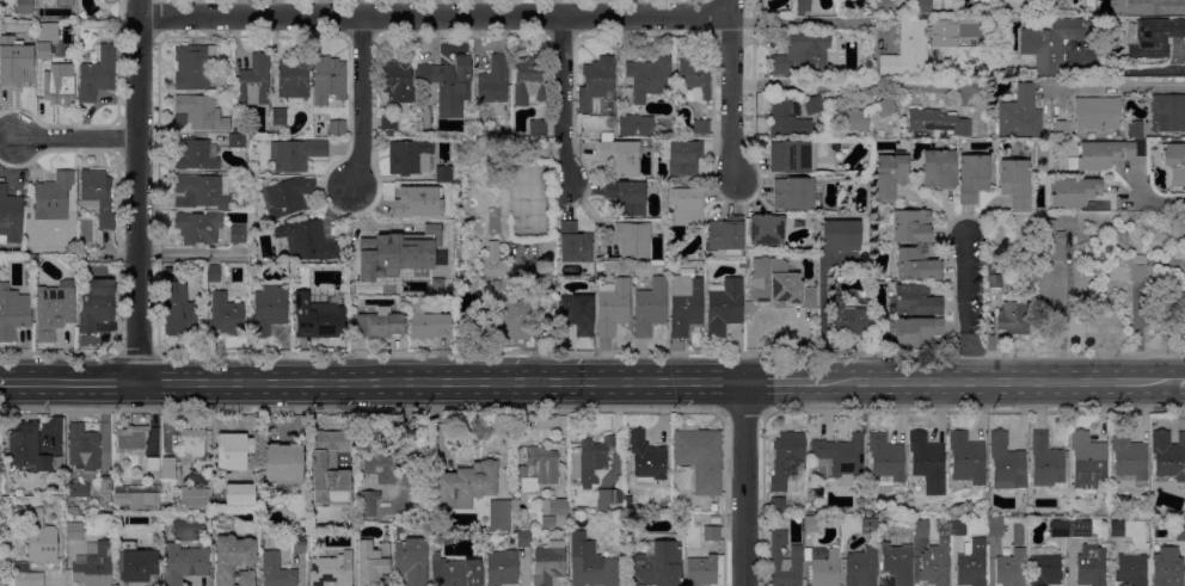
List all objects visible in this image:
building: (883, 5)
building: (24, 6)
building: (1154, 6)
building: (803, 7)
building: (923, 8)
building: (81, 13)
road: (435, 17)
road: (819, 23)
building: (4, 31)
building: (48, 31)
building: (943, 32)
building: (1155, 37)
building: (1054, 42)
building: (43, 50)
building: (908, 50)
building: (1079, 53)
building: (802, 54)
building: (194, 67)
building: (14, 69)
road: (1138, 69)
building: (97, 74)
building: (693, 75)
building: (294, 78)
building: (649, 78)
building: (529, 79)
building: (329, 80)
building: (398, 80)
building: (493, 80)
building: (254, 81)
building: (596, 81)
road: (851, 82)
building: (59, 84)
building: (448, 85)
road: (1123, 85)
road: (735, 90)
road: (561, 100)
road: (360, 104)
building: (813, 105)
building: (886, 109)
building: (202, 112)
building: (1167, 112)
building: (1018, 115)
building: (1097, 115)
building: (280, 117)
building: (787, 119)
building: (852, 119)
building: (388, 122)
building: (937, 122)
building: (636, 125)
building: (538, 128)
building: (701, 128)
building: (332, 129)
building: (1061, 129)
building: (1132, 129)
building: (389, 135)
road: (75, 137)
building: (237, 141)
building: (548, 152)
building: (295, 154)
building: (1101, 154)
building: (196, 155)
building: (620, 156)
building: (682, 156)
building: (793, 156)
building: (410, 158)
building: (1174, 162)
building: (939, 169)
building: (444, 174)
building: (890, 175)
building: (972, 177)
building: (1015, 183)
road: (137, 191)
building: (203, 191)
building: (400, 191)
building: (1073, 192)
building: (796, 195)
building: (98, 196)
building: (53, 197)
building: (287, 197)
building: (627, 197)
road: (1149, 202)
building: (686, 204)
building: (434, 208)
building: (10, 217)
building: (1092, 217)
building: (1066, 221)
building: (905, 226)
building: (198, 227)
building: (766, 229)
building: (237, 234)
building: (725, 235)
building: (840, 235)
building: (460, 236)
building: (1115, 236)
building: (632, 239)
building: (306, 241)
building: (1050, 241)
building: (1124, 242)
building: (575, 243)
building: (546, 251)
building: (393, 257)
building: (493, 261)
building: (742, 265)
building: (917, 265)
building: (1115, 271)
building: (1141, 271)
building: (213, 273)
building: (37, 279)
building: (995, 280)
building: (781, 282)
building: (914, 301)
building: (401, 302)
building: (366, 303)
building: (684, 303)
building: (97, 306)
building: (612, 306)
building: (724, 306)
building: (649, 308)
building: (51, 309)
building: (269, 309)
road: (968, 309)
building: (178, 311)
building: (13, 313)
building: (227, 314)
building: (577, 314)
building: (318, 317)
road: (822, 317)
building: (849, 319)
building: (1014, 319)
road: (1064, 321)
building: (504, 322)
building: (428, 323)
building: (377, 325)
building: (914, 332)
road: (782, 381)
road: (997, 381)
road: (1179, 381)
road: (441, 382)
road: (68, 383)
building: (131, 437)
building: (26, 445)
building: (84, 446)
building: (192, 446)
building: (233, 450)
building: (1169, 454)
building: (841, 456)
building: (700, 457)
building: (886, 457)
building: (1128, 457)
building: (592, 458)
building: (646, 458)
building: (966, 458)
building: (787, 459)
building: (1045, 461)
building: (1087, 461)
building: (927, 462)
building: (1006, 463)
building: (283, 464)
building: (153, 465)
building: (377, 467)
building: (168, 468)
building: (329, 469)
building: (536, 469)
road: (743, 483)
building: (466, 485)
building: (105, 487)
building: (80, 491)
building: (0, 492)
building: (240, 494)
building: (195, 498)
building: (608, 499)
building: (137, 500)
building: (368, 502)
building: (627, 502)
building: (778, 505)
building: (713, 507)
building: (73, 511)
building: (554, 512)
building: (499, 516)
building: (714, 519)
building: (811, 524)
building: (868, 524)
building: (921, 525)
building: (995, 526)
building: (1060, 528)
building: (1117, 529)
building: (74, 531)
building: (1180, 532)
building: (711, 533)
building: (523, 539)
building: (41, 541)
building: (299, 542)
building: (1088, 555)
building: (970, 556)
building: (898, 559)
building: (233, 560)
building: (411, 560)
building: (784, 561)
building: (548, 562)
building: (183, 563)
building: (373, 563)
building: (590, 563)
building: (935, 563)
building: (93, 565)
building: (655, 565)
building: (135, 566)
building: (823, 566)
building: (1045, 566)
building: (861, 567)
building: (333, 568)
building: (502, 568)
building: (1011, 568)
building: (1166, 568)
building: (1131, 569)
building: (276, 570)
building: (701, 570)
building: (454, 572)
building: (25, 576)

